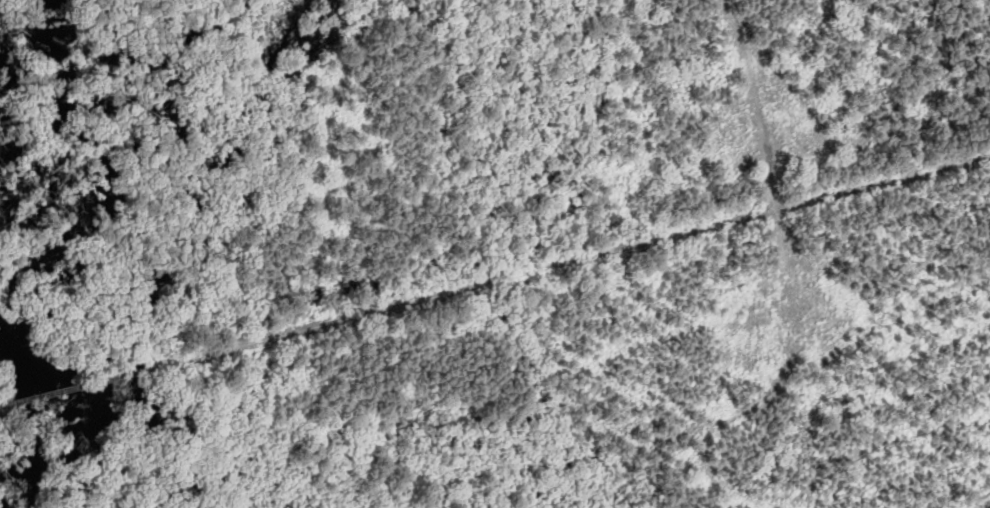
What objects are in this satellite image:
river: (34, 37)
railway: (570, 260)
river: (24, 282)
railway: (82, 385)
railway: (6, 404)

